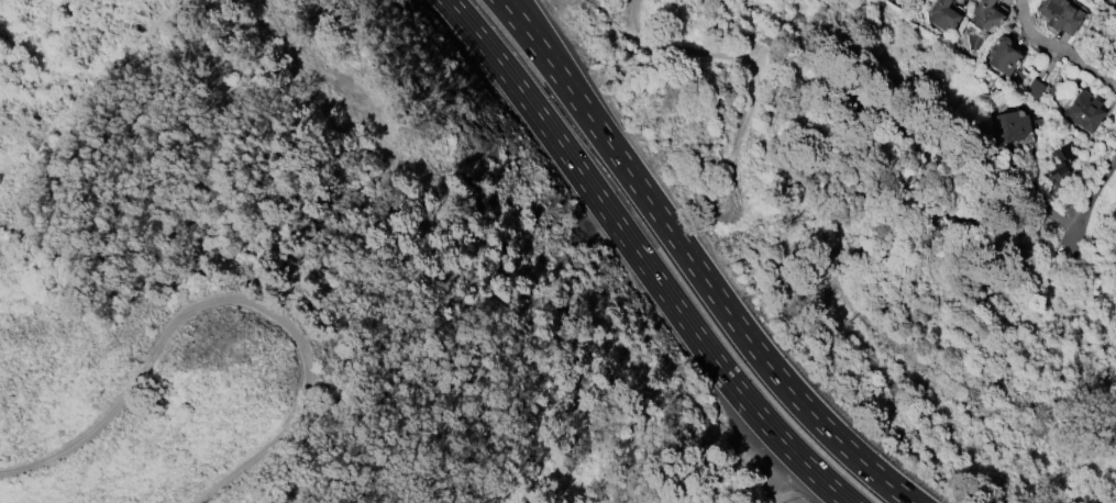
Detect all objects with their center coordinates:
building: (987, 13)
building: (943, 14)
building: (1060, 14)
road: (1058, 53)
building: (1004, 55)
road: (544, 56)
road: (556, 57)
building: (1034, 88)
building: (1084, 111)
building: (1010, 125)
building: (1054, 172)
road: (1097, 194)
building: (1115, 246)
road: (640, 257)
road: (225, 299)
road: (736, 322)

